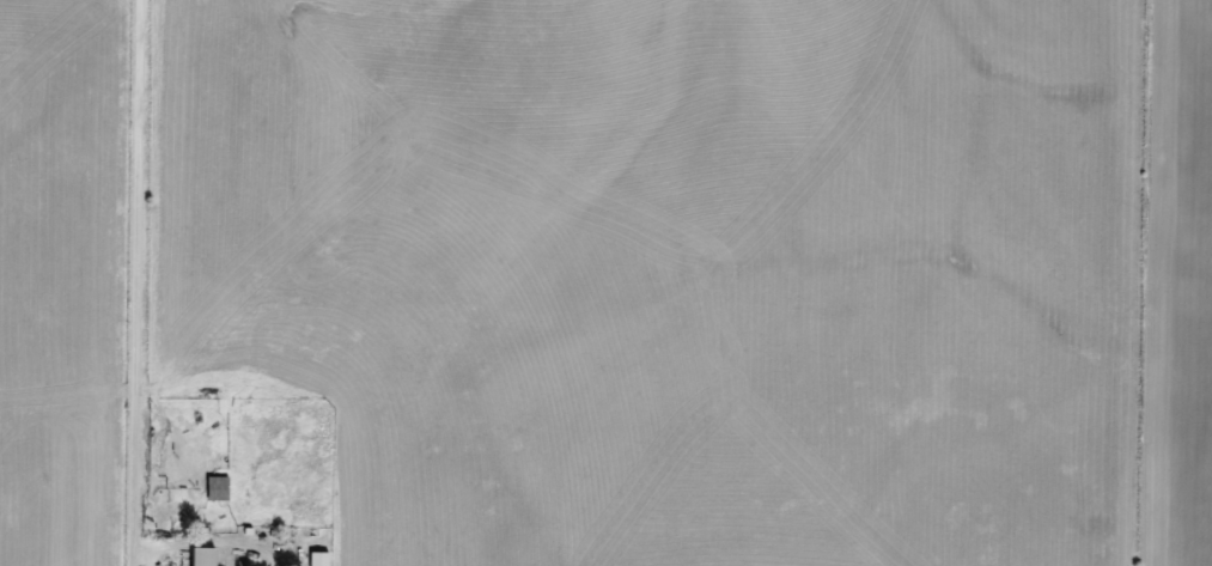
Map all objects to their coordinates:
road: (185, 282)
building: (213, 488)
building: (196, 556)
building: (313, 560)

